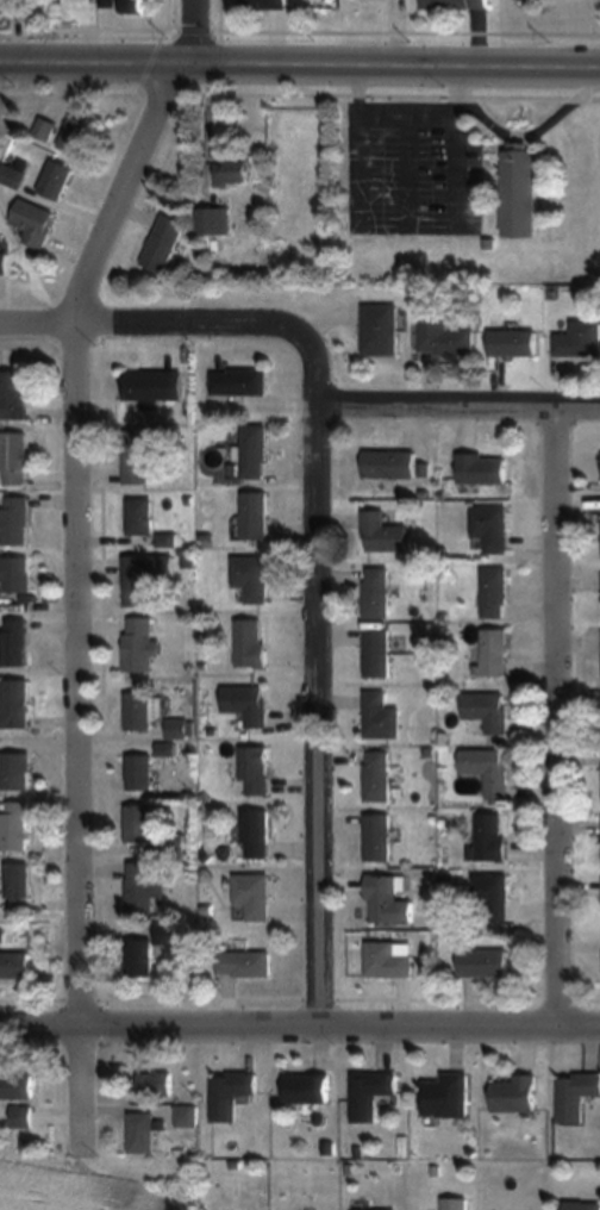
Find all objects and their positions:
building: (108, 2)
building: (455, 4)
building: (133, 5)
building: (264, 5)
road: (300, 62)
building: (45, 127)
building: (77, 135)
building: (15, 173)
building: (232, 173)
building: (57, 179)
building: (524, 193)
building: (214, 220)
building: (36, 222)
building: (164, 243)
building: (4, 261)
building: (381, 330)
road: (167, 332)
building: (444, 338)
building: (579, 339)
building: (513, 343)
building: (240, 381)
building: (154, 386)
building: (13, 394)
road: (458, 412)
building: (255, 453)
building: (138, 456)
building: (14, 459)
building: (390, 463)
building: (482, 468)
building: (139, 516)
building: (255, 516)
building: (15, 522)
building: (490, 526)
building: (383, 532)
road: (79, 567)
building: (15, 574)
building: (143, 575)
building: (252, 576)
building: (377, 592)
building: (494, 592)
building: (15, 642)
building: (252, 642)
building: (140, 644)
building: (494, 651)
building: (377, 653)
road: (319, 701)
building: (249, 703)
building: (17, 704)
building: (139, 710)
building: (488, 711)
building: (381, 715)
road: (557, 723)
building: (180, 728)
building: (15, 769)
building: (255, 769)
building: (139, 771)
building: (489, 771)
building: (379, 775)
building: (142, 823)
building: (15, 825)
building: (256, 832)
building: (379, 836)
building: (489, 840)
building: (19, 880)
building: (144, 887)
building: (254, 896)
building: (492, 898)
building: (388, 902)
building: (139, 958)
building: (387, 961)
building: (14, 963)
building: (483, 963)
building: (244, 965)
road: (299, 1033)
building: (155, 1085)
building: (15, 1086)
building: (306, 1089)
building: (230, 1092)
building: (371, 1093)
building: (515, 1093)
building: (576, 1094)
building: (446, 1096)
building: (21, 1116)
building: (143, 1131)
crop: (92, 1184)
building: (454, 1203)
building: (580, 1205)
building: (374, 1209)

